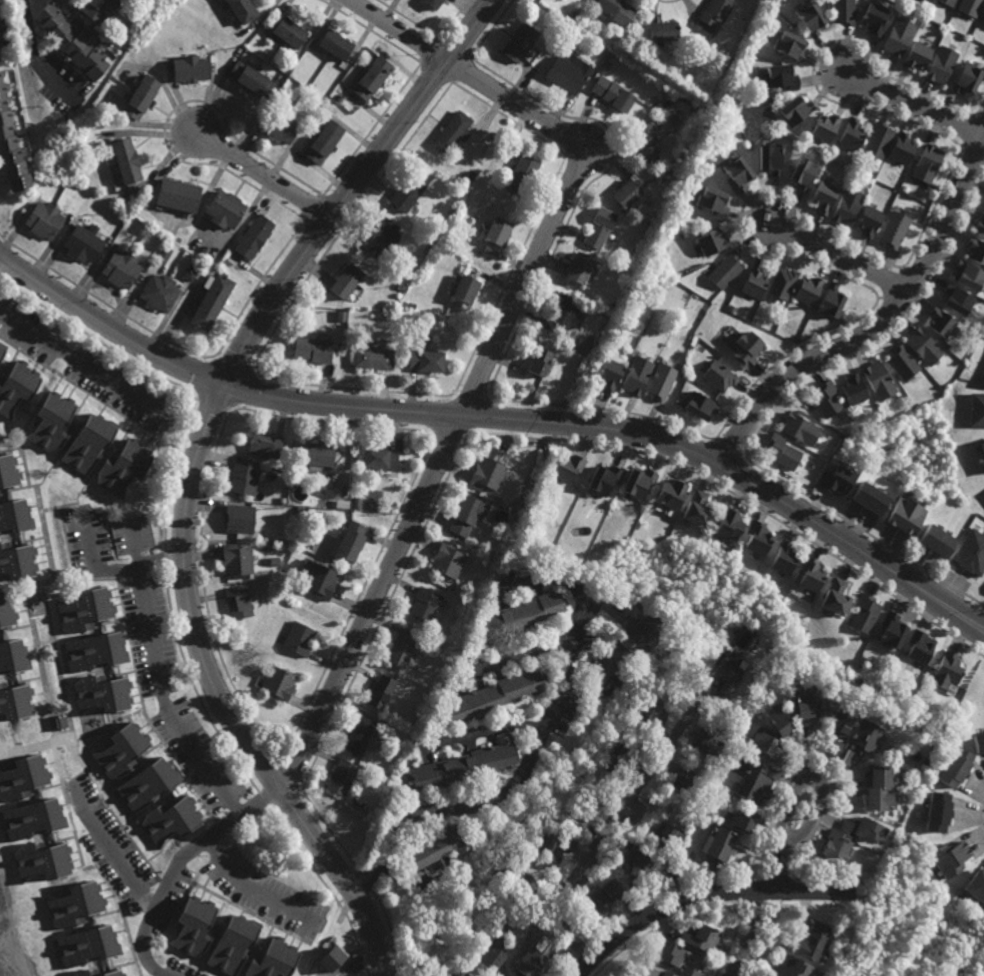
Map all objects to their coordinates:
building: (948, 1)
building: (431, 3)
building: (969, 5)
building: (96, 8)
building: (241, 9)
building: (613, 10)
building: (841, 10)
building: (712, 13)
building: (807, 15)
building: (983, 15)
building: (873, 16)
building: (586, 17)
building: (660, 29)
road: (399, 30)
building: (286, 33)
building: (896, 34)
building: (68, 37)
building: (0, 41)
building: (518, 42)
building: (786, 42)
building: (335, 43)
building: (230, 50)
building: (915, 53)
road: (35, 55)
building: (940, 62)
building: (606, 64)
building: (189, 67)
building: (1, 71)
building: (566, 72)
building: (777, 75)
building: (966, 76)
building: (371, 77)
building: (250, 78)
building: (611, 93)
building: (137, 95)
building: (338, 99)
road: (913, 105)
building: (791, 108)
building: (823, 126)
building: (279, 127)
building: (451, 132)
building: (850, 132)
building: (644, 139)
building: (876, 140)
building: (323, 141)
building: (899, 147)
building: (10, 148)
building: (766, 158)
building: (124, 159)
building: (926, 162)
building: (800, 172)
building: (735, 173)
building: (519, 175)
building: (469, 176)
road: (263, 178)
building: (904, 187)
building: (411, 189)
building: (624, 193)
building: (176, 194)
building: (822, 195)
building: (710, 200)
building: (845, 206)
building: (224, 209)
building: (43, 219)
building: (868, 219)
building: (979, 224)
building: (596, 227)
building: (894, 228)
building: (494, 230)
building: (380, 236)
building: (253, 237)
building: (712, 241)
building: (83, 242)
building: (205, 249)
building: (976, 250)
road: (0, 253)
building: (162, 254)
road: (840, 255)
building: (146, 263)
building: (120, 268)
building: (577, 268)
building: (725, 270)
building: (190, 271)
building: (968, 275)
building: (345, 281)
building: (753, 282)
building: (780, 283)
building: (462, 289)
building: (806, 290)
building: (158, 293)
building: (957, 300)
building: (829, 301)
building: (210, 302)
building: (411, 305)
building: (560, 315)
building: (341, 316)
building: (940, 322)
road: (877, 326)
building: (793, 340)
building: (923, 346)
building: (1, 348)
building: (746, 349)
building: (312, 350)
building: (372, 359)
road: (79, 361)
building: (424, 362)
building: (537, 362)
building: (901, 363)
building: (609, 372)
building: (982, 375)
building: (635, 376)
building: (719, 377)
building: (877, 380)
building: (660, 382)
building: (16, 387)
building: (852, 390)
road: (471, 399)
building: (825, 400)
building: (699, 406)
building: (976, 411)
road: (500, 418)
building: (50, 423)
building: (850, 428)
building: (798, 429)
building: (86, 444)
building: (264, 446)
building: (982, 451)
building: (779, 453)
building: (316, 458)
building: (379, 459)
building: (120, 468)
building: (567, 468)
road: (193, 470)
building: (7, 472)
building: (485, 475)
building: (602, 480)
building: (243, 481)
building: (833, 481)
building: (636, 484)
building: (333, 495)
building: (669, 495)
building: (866, 500)
building: (281, 501)
building: (355, 504)
building: (362, 504)
building: (341, 505)
building: (695, 511)
building: (299, 513)
building: (464, 516)
building: (903, 517)
building: (14, 518)
building: (238, 522)
building: (725, 527)
building: (753, 539)
building: (349, 542)
building: (935, 544)
building: (279, 547)
building: (971, 556)
building: (779, 560)
building: (445, 561)
building: (17, 562)
building: (235, 562)
building: (273, 563)
road: (120, 568)
building: (806, 577)
building: (318, 579)
building: (451, 596)
building: (832, 596)
building: (237, 602)
building: (425, 604)
building: (84, 608)
building: (6, 610)
building: (515, 612)
building: (861, 612)
building: (890, 626)
building: (298, 637)
building: (918, 642)
building: (402, 645)
building: (620, 646)
building: (94, 650)
road: (520, 653)
building: (13, 654)
building: (412, 668)
building: (946, 668)
building: (723, 674)
building: (857, 678)
building: (277, 683)
building: (380, 690)
building: (489, 691)
road: (595, 691)
building: (100, 692)
road: (161, 699)
building: (14, 700)
building: (798, 703)
building: (652, 709)
building: (777, 720)
building: (383, 721)
building: (836, 721)
road: (483, 731)
building: (865, 733)
building: (359, 734)
building: (378, 736)
building: (710, 739)
building: (978, 740)
building: (762, 742)
building: (832, 747)
road: (533, 748)
building: (120, 749)
building: (844, 755)
building: (620, 759)
building: (925, 760)
building: (461, 764)
building: (954, 766)
building: (22, 776)
building: (341, 776)
building: (682, 776)
road: (815, 778)
building: (754, 780)
building: (146, 783)
building: (877, 787)
building: (587, 803)
building: (936, 810)
building: (33, 818)
building: (169, 819)
building: (742, 819)
road: (611, 827)
building: (662, 830)
building: (848, 835)
building: (718, 844)
building: (433, 846)
building: (549, 848)
building: (633, 856)
building: (947, 857)
building: (41, 860)
road: (178, 862)
road: (124, 864)
building: (669, 865)
road: (784, 866)
building: (692, 867)
road: (411, 879)
building: (520, 881)
building: (975, 886)
road: (248, 887)
road: (703, 895)
building: (597, 899)
building: (74, 904)
building: (193, 926)
road: (748, 933)
building: (700, 939)
building: (811, 940)
building: (233, 944)
building: (86, 946)
building: (493, 953)
building: (666, 953)
building: (331, 957)
building: (274, 959)
building: (534, 962)
building: (791, 966)
building: (643, 971)
building: (86, 972)
building: (687, 972)
building: (463, 974)
building: (664, 974)
building: (472, 975)

